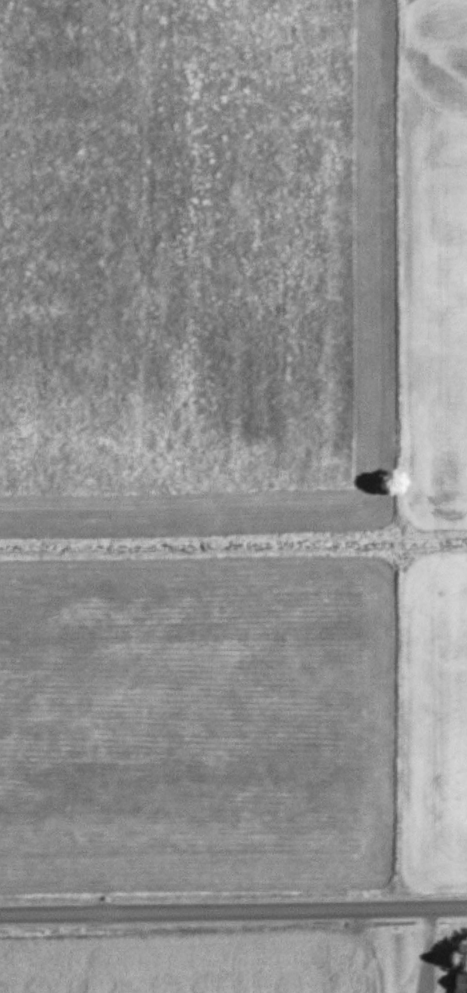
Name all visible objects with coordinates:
road: (233, 910)
building: (462, 980)

